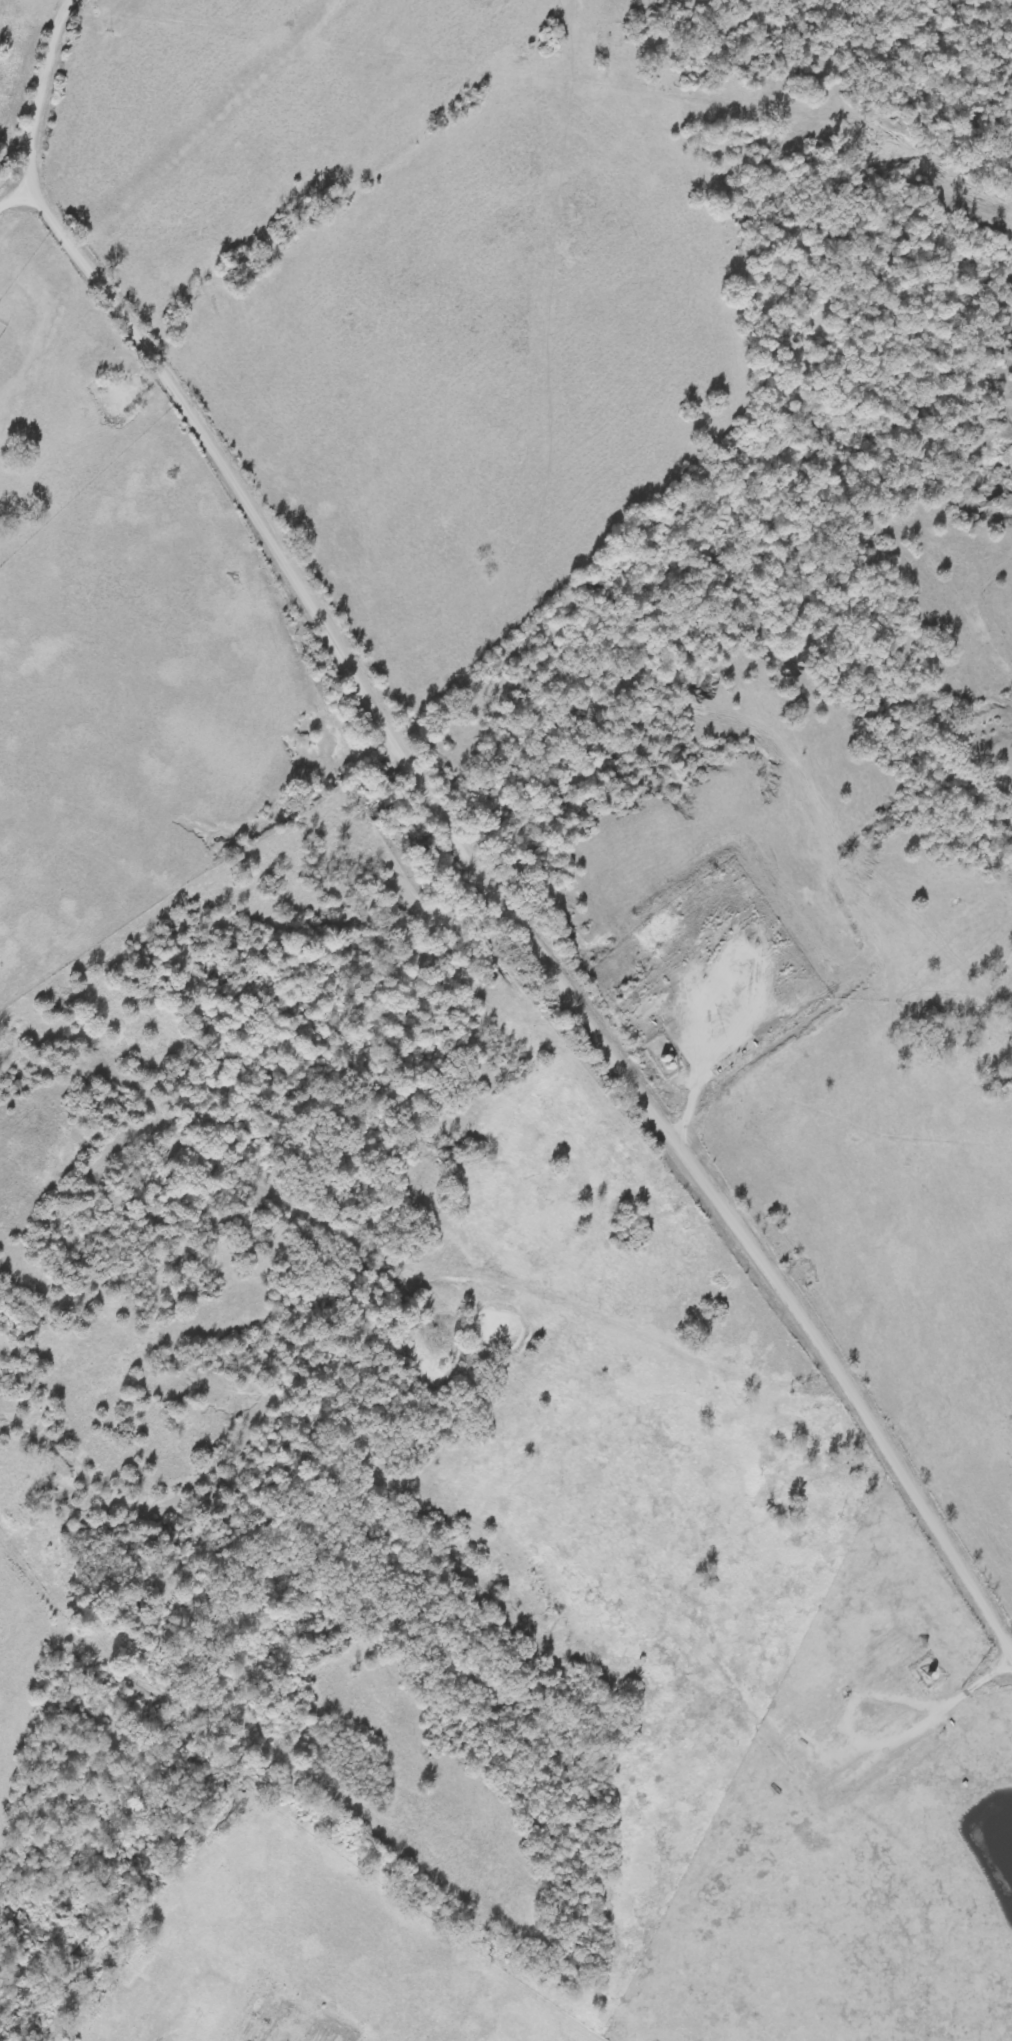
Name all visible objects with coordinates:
road: (198, 459)
road: (763, 1282)

